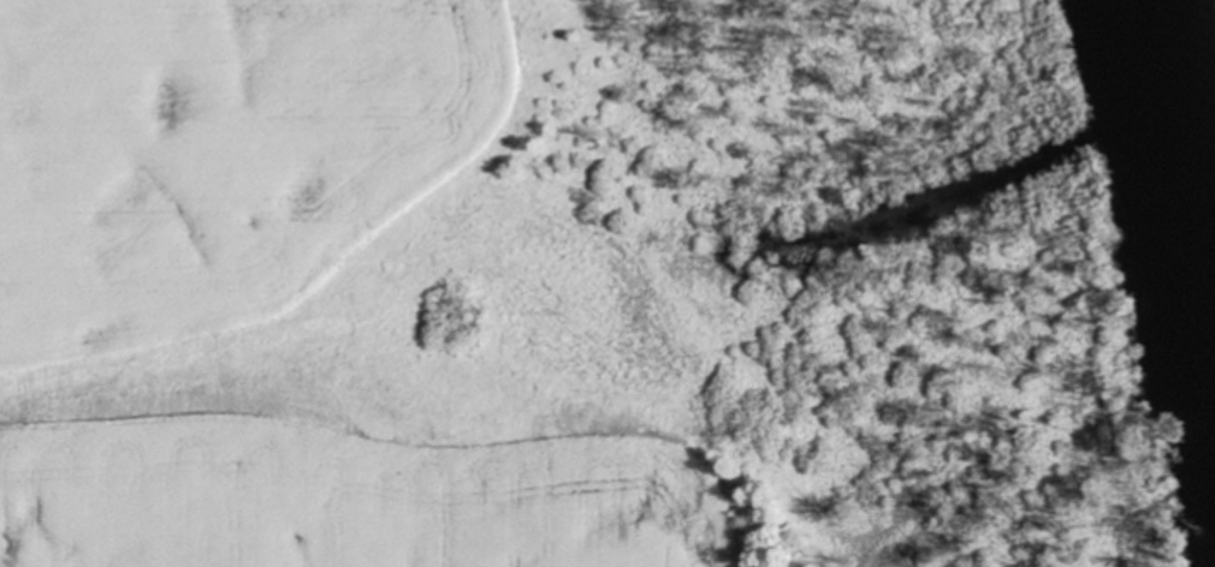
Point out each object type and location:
river: (1174, 174)

